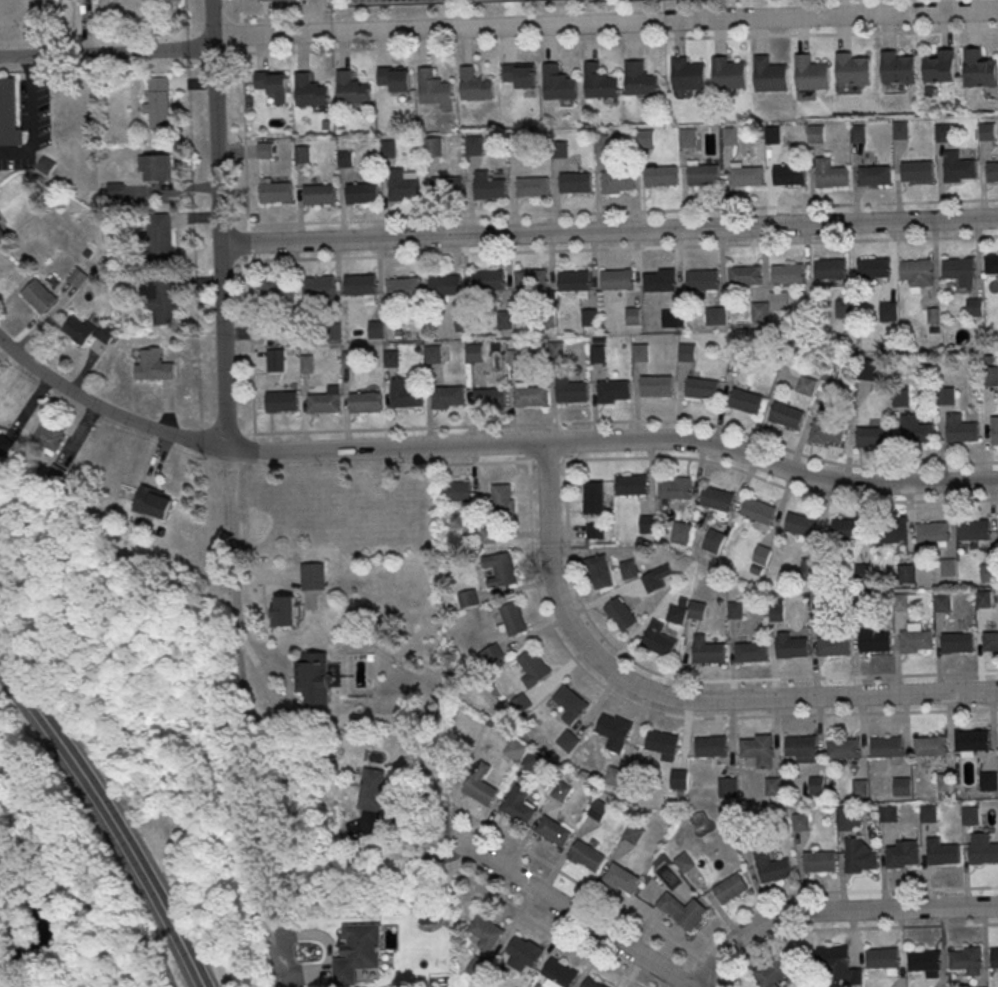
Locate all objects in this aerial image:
building: (272, 0)
road: (211, 21)
road: (604, 23)
road: (240, 26)
road: (106, 52)
building: (941, 66)
building: (896, 67)
building: (852, 68)
building: (980, 69)
building: (729, 72)
building: (811, 72)
building: (688, 73)
building: (769, 73)
building: (520, 74)
building: (395, 76)
building: (640, 78)
building: (599, 81)
building: (475, 82)
building: (272, 83)
building: (558, 83)
building: (433, 87)
building: (351, 89)
building: (309, 90)
building: (158, 102)
building: (10, 114)
building: (900, 130)
building: (987, 132)
building: (943, 133)
building: (858, 134)
building: (817, 135)
road: (244, 136)
building: (731, 137)
building: (773, 137)
building: (688, 138)
building: (646, 139)
building: (518, 145)
building: (602, 145)
building: (433, 147)
building: (475, 147)
building: (388, 149)
building: (560, 149)
building: (266, 151)
building: (303, 155)
building: (346, 160)
building: (157, 167)
building: (960, 167)
building: (917, 170)
building: (992, 171)
building: (789, 173)
building: (661, 174)
building: (703, 174)
building: (874, 175)
building: (746, 176)
building: (831, 176)
building: (618, 179)
building: (575, 181)
building: (403, 186)
building: (448, 186)
building: (532, 186)
building: (490, 187)
building: (362, 191)
building: (276, 193)
building: (319, 193)
road: (608, 230)
building: (2, 234)
building: (160, 236)
road: (247, 242)
road: (327, 257)
building: (991, 263)
building: (873, 267)
building: (958, 267)
building: (916, 268)
building: (830, 269)
building: (745, 274)
building: (787, 274)
building: (78, 276)
building: (617, 278)
building: (491, 279)
building: (531, 279)
building: (702, 279)
building: (574, 280)
building: (659, 281)
building: (360, 283)
building: (446, 284)
building: (318, 286)
building: (403, 286)
building: (278, 290)
building: (40, 296)
building: (161, 298)
building: (779, 302)
building: (975, 308)
building: (844, 310)
building: (760, 312)
building: (888, 312)
building: (634, 317)
building: (716, 317)
building: (590, 318)
building: (547, 319)
building: (673, 319)
building: (505, 320)
building: (463, 324)
building: (376, 330)
building: (87, 331)
building: (271, 332)
building: (334, 332)
building: (557, 351)
building: (687, 351)
building: (475, 353)
building: (640, 353)
building: (598, 354)
building: (434, 355)
building: (516, 358)
building: (392, 359)
building: (351, 360)
building: (276, 361)
building: (308, 364)
building: (154, 366)
building: (990, 378)
building: (656, 385)
building: (806, 385)
building: (702, 389)
building: (572, 390)
building: (614, 390)
building: (448, 395)
building: (531, 395)
building: (406, 397)
building: (490, 397)
building: (946, 397)
building: (901, 398)
building: (282, 400)
building: (365, 401)
building: (745, 401)
building: (324, 402)
road: (168, 406)
building: (787, 416)
building: (960, 430)
building: (916, 431)
building: (994, 431)
building: (826, 433)
building: (48, 437)
building: (872, 438)
road: (487, 444)
building: (5, 445)
road: (483, 462)
road: (832, 463)
road: (528, 470)
building: (631, 484)
road: (780, 485)
building: (674, 487)
building: (457, 490)
building: (503, 498)
building: (594, 499)
building: (717, 499)
building: (153, 502)
building: (757, 513)
road: (233, 516)
building: (646, 524)
building: (800, 526)
building: (847, 528)
building: (594, 530)
building: (891, 530)
building: (974, 531)
building: (680, 532)
building: (932, 533)
building: (485, 534)
building: (713, 540)
building: (761, 554)
building: (948, 567)
building: (500, 568)
building: (628, 568)
building: (600, 572)
building: (988, 572)
building: (314, 577)
building: (983, 598)
building: (469, 599)
building: (942, 602)
building: (734, 609)
building: (685, 610)
building: (776, 612)
building: (285, 613)
building: (620, 613)
building: (514, 619)
building: (914, 638)
building: (658, 639)
building: (874, 641)
building: (957, 641)
building: (990, 641)
building: (833, 645)
building: (792, 647)
building: (707, 650)
building: (751, 651)
building: (494, 654)
building: (534, 668)
building: (314, 678)
road: (676, 698)
building: (571, 704)
building: (521, 705)
building: (615, 732)
building: (972, 739)
building: (569, 742)
building: (661, 744)
building: (711, 745)
building: (886, 745)
building: (930, 745)
building: (801, 747)
building: (842, 747)
building: (757, 749)
building: (515, 751)
building: (531, 761)
park: (114, 773)
building: (616, 778)
building: (679, 779)
building: (987, 780)
building: (945, 782)
building: (815, 784)
building: (771, 785)
building: (901, 785)
building: (726, 786)
building: (479, 787)
building: (859, 787)
building: (560, 790)
building: (374, 791)
building: (517, 804)
building: (598, 809)
building: (887, 813)
building: (927, 813)
building: (969, 815)
road: (110, 817)
building: (799, 820)
building: (845, 820)
building: (551, 830)
building: (632, 833)
road: (408, 852)
building: (983, 852)
building: (943, 853)
building: (584, 855)
building: (900, 855)
building: (859, 857)
building: (817, 860)
building: (683, 861)
building: (771, 867)
road: (66, 870)
building: (619, 877)
road: (576, 882)
building: (729, 887)
road: (834, 891)
building: (682, 910)
road: (833, 911)
road: (569, 912)
river: (46, 926)
road: (834, 927)
road: (548, 929)
building: (485, 932)
building: (359, 953)
building: (523, 953)
building: (880, 957)
building: (994, 957)
building: (966, 959)
building: (922, 960)
building: (837, 965)
building: (479, 968)
building: (557, 973)
building: (770, 973)
building: (592, 982)
road: (730, 982)

